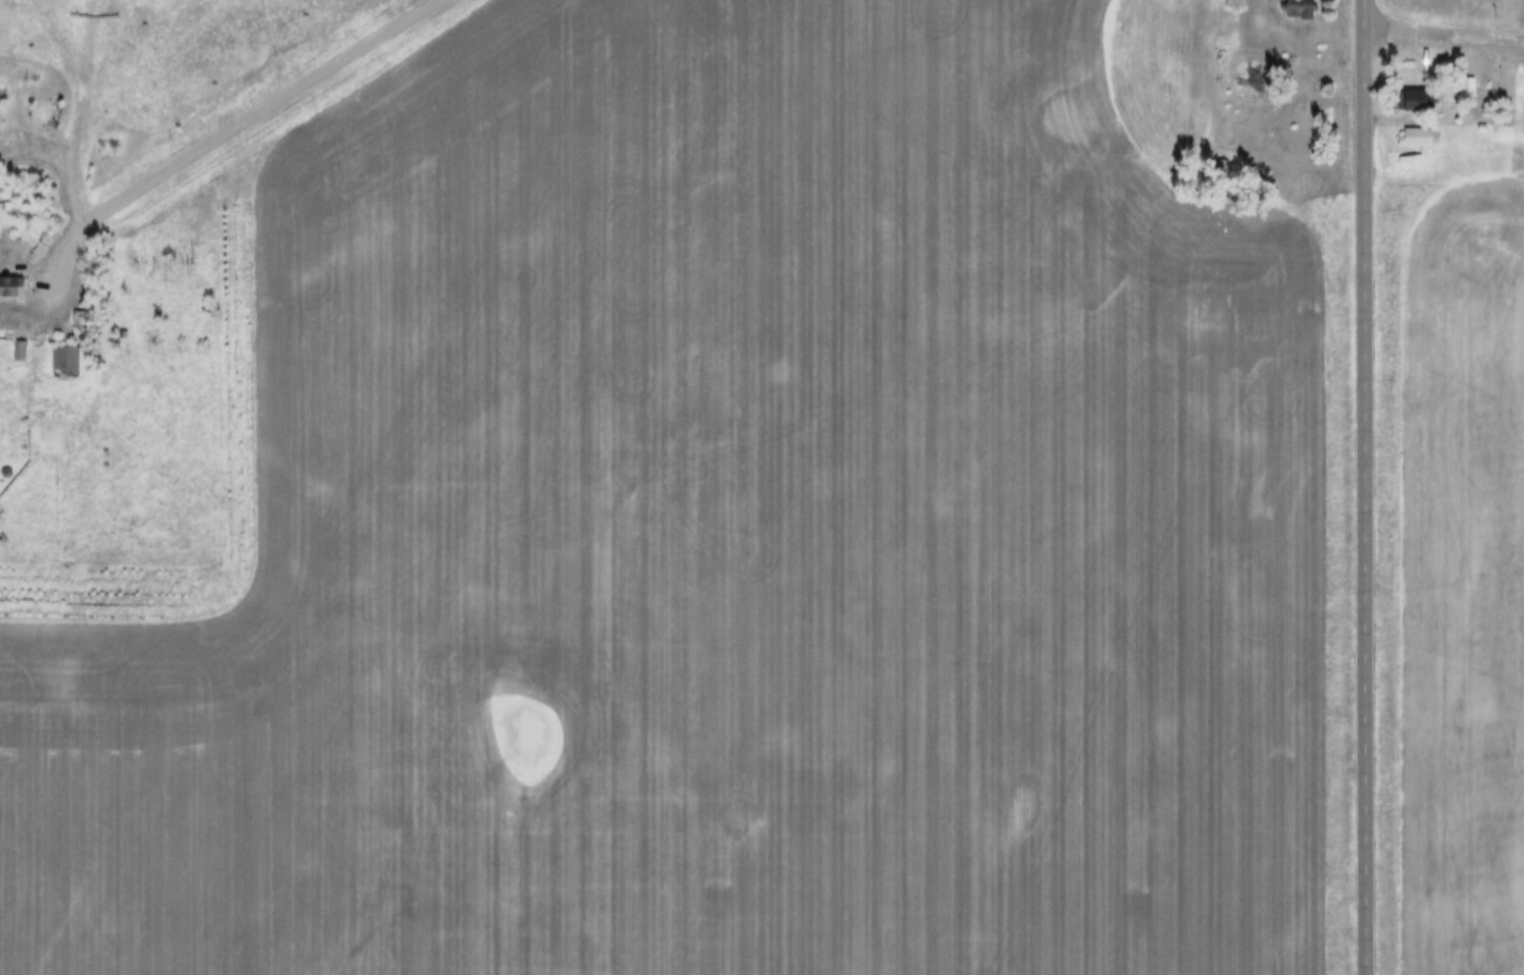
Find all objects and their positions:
building: (1298, 3)
building: (1236, 4)
building: (1294, 53)
building: (1467, 79)
building: (1469, 90)
building: (1411, 93)
building: (1416, 102)
building: (1483, 120)
building: (1416, 130)
road: (225, 133)
building: (10, 281)
building: (18, 344)
building: (22, 353)
building: (63, 355)
road: (1366, 487)

